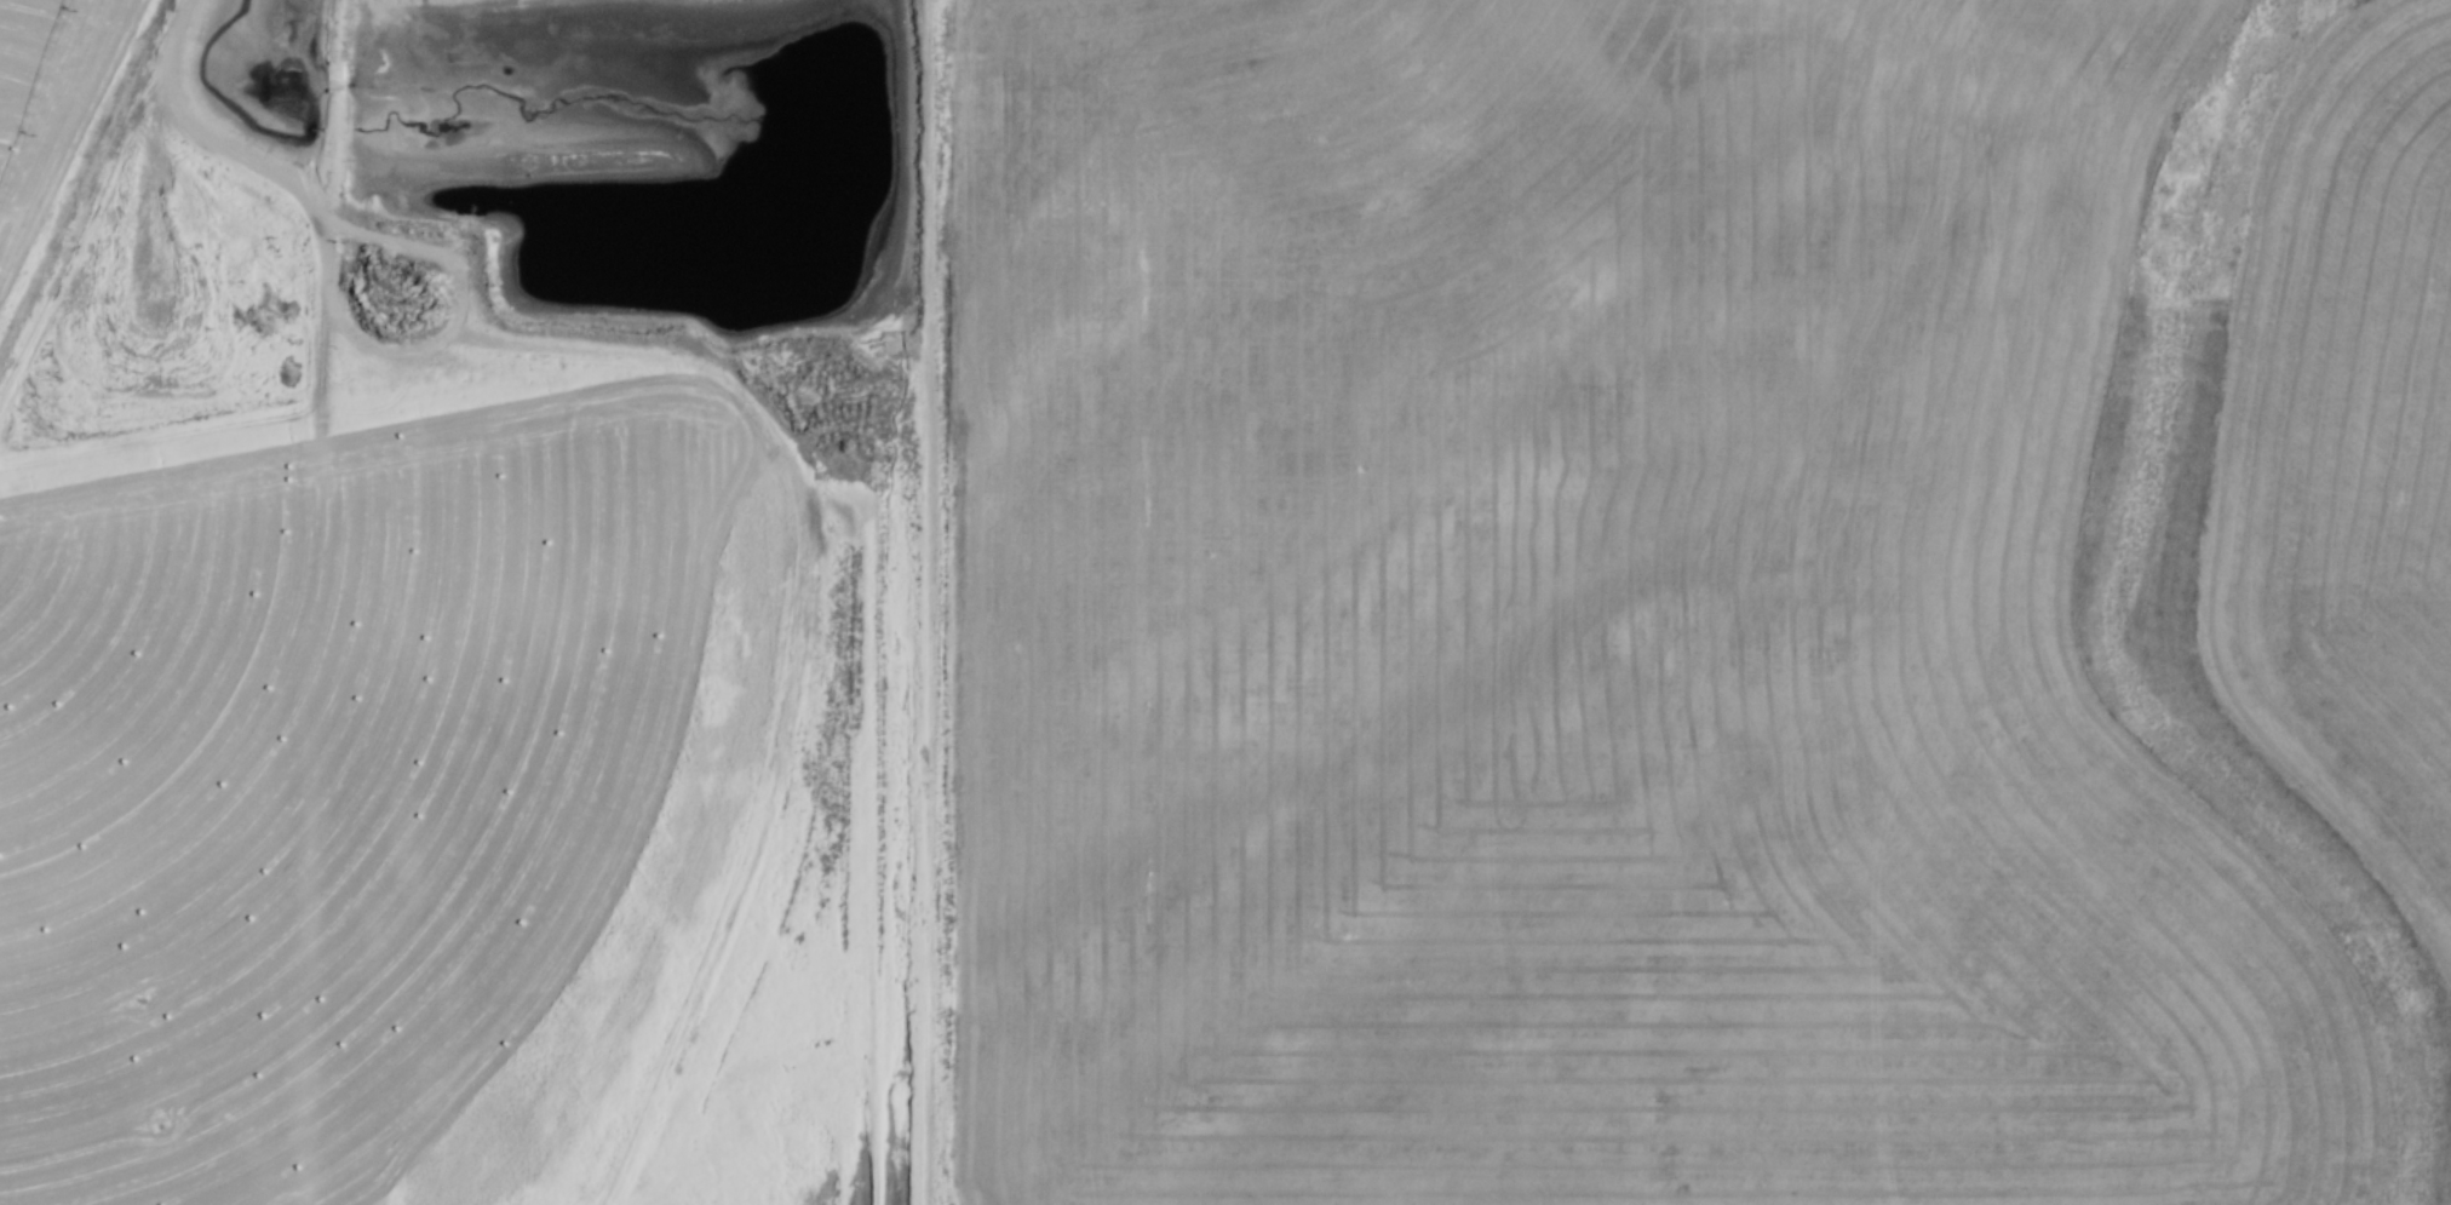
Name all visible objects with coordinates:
road: (195, 133)
crop: (57, 134)
road: (444, 338)
crop: (2346, 459)
crop: (1583, 636)
crop: (375, 790)

